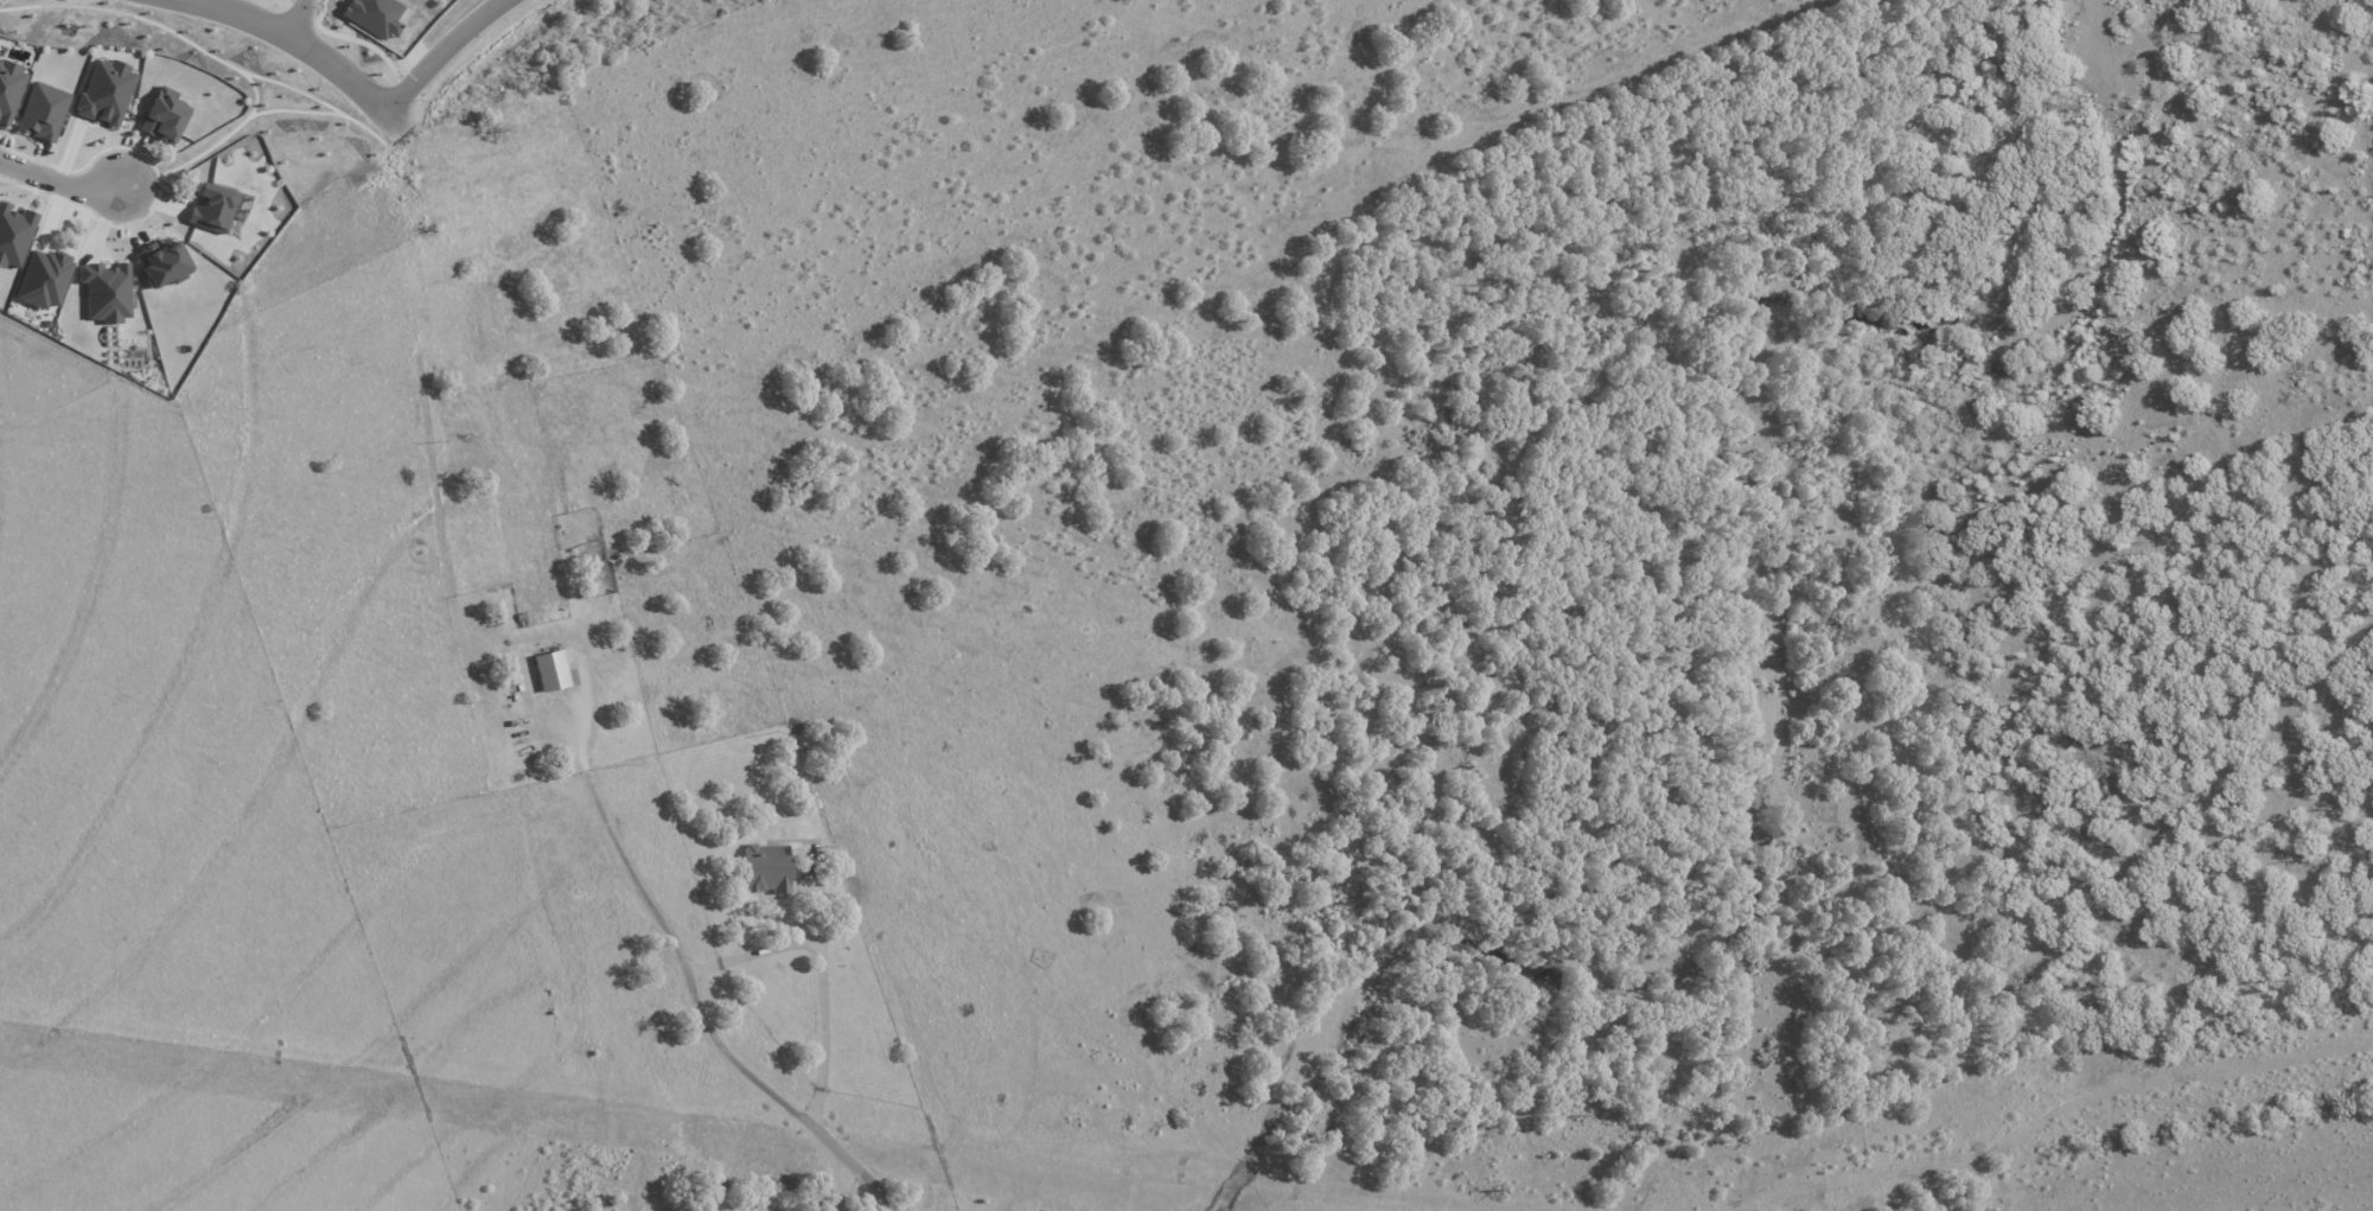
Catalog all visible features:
road: (229, 2)
road: (300, 13)
road: (1823, 45)
road: (442, 46)
building: (11, 90)
building: (107, 91)
building: (44, 111)
building: (165, 116)
road: (1493, 152)
road: (629, 173)
road: (59, 178)
building: (213, 208)
road: (1312, 216)
road: (1080, 224)
building: (14, 235)
building: (164, 263)
building: (44, 279)
road: (473, 285)
building: (107, 292)
road: (869, 300)
road: (1078, 448)
road: (902, 503)
road: (377, 541)
road: (152, 579)
road: (1186, 616)
road: (346, 645)
building: (550, 671)
road: (985, 710)
road: (607, 822)
road: (33, 826)
road: (143, 828)
road: (340, 841)
road: (1182, 855)
building: (767, 868)
road: (751, 954)
road: (735, 1066)
road: (851, 1160)

